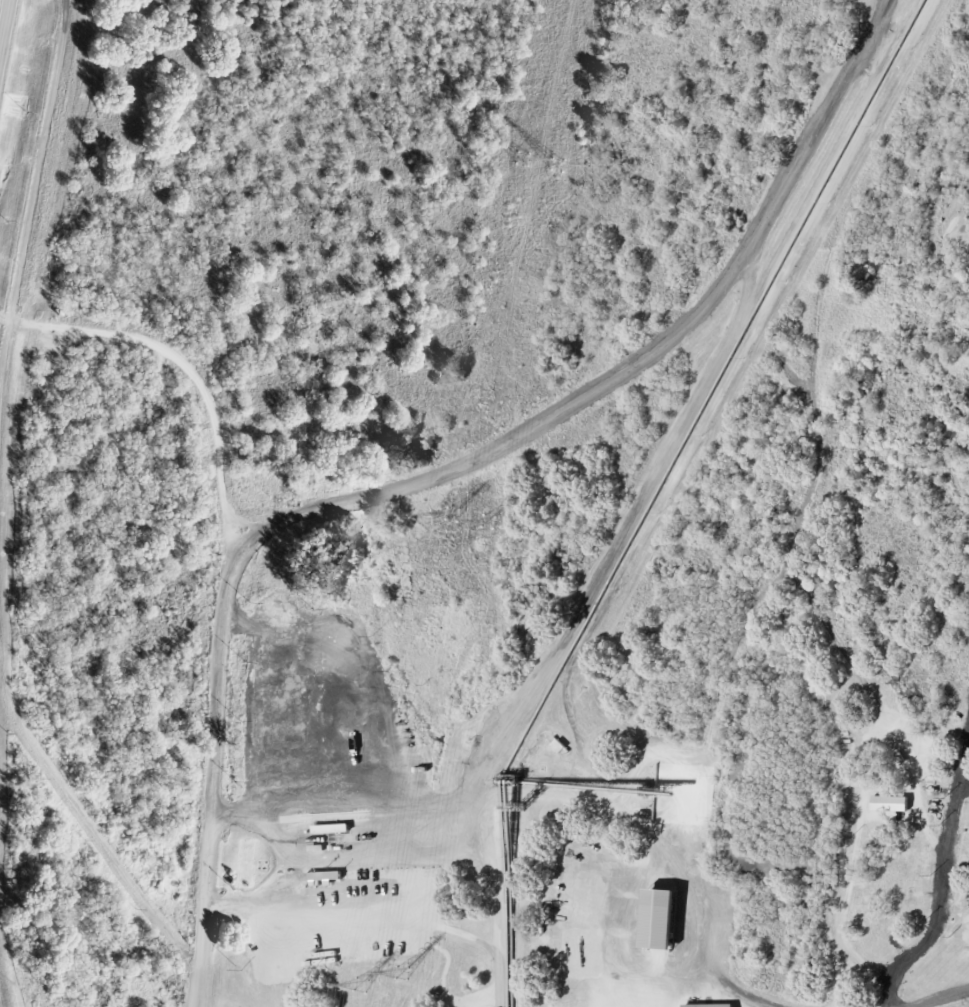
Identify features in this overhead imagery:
road: (883, 7)
road: (3, 19)
power tower: (522, 160)
power tower: (557, 168)
road: (34, 180)
road: (187, 367)
road: (442, 477)
power tower: (452, 516)
power tower: (488, 524)
road: (291, 866)
building: (661, 921)
road: (496, 937)
power tower: (402, 974)
power tower: (360, 986)
road: (738, 994)
road: (943, 997)
building: (717, 1006)

